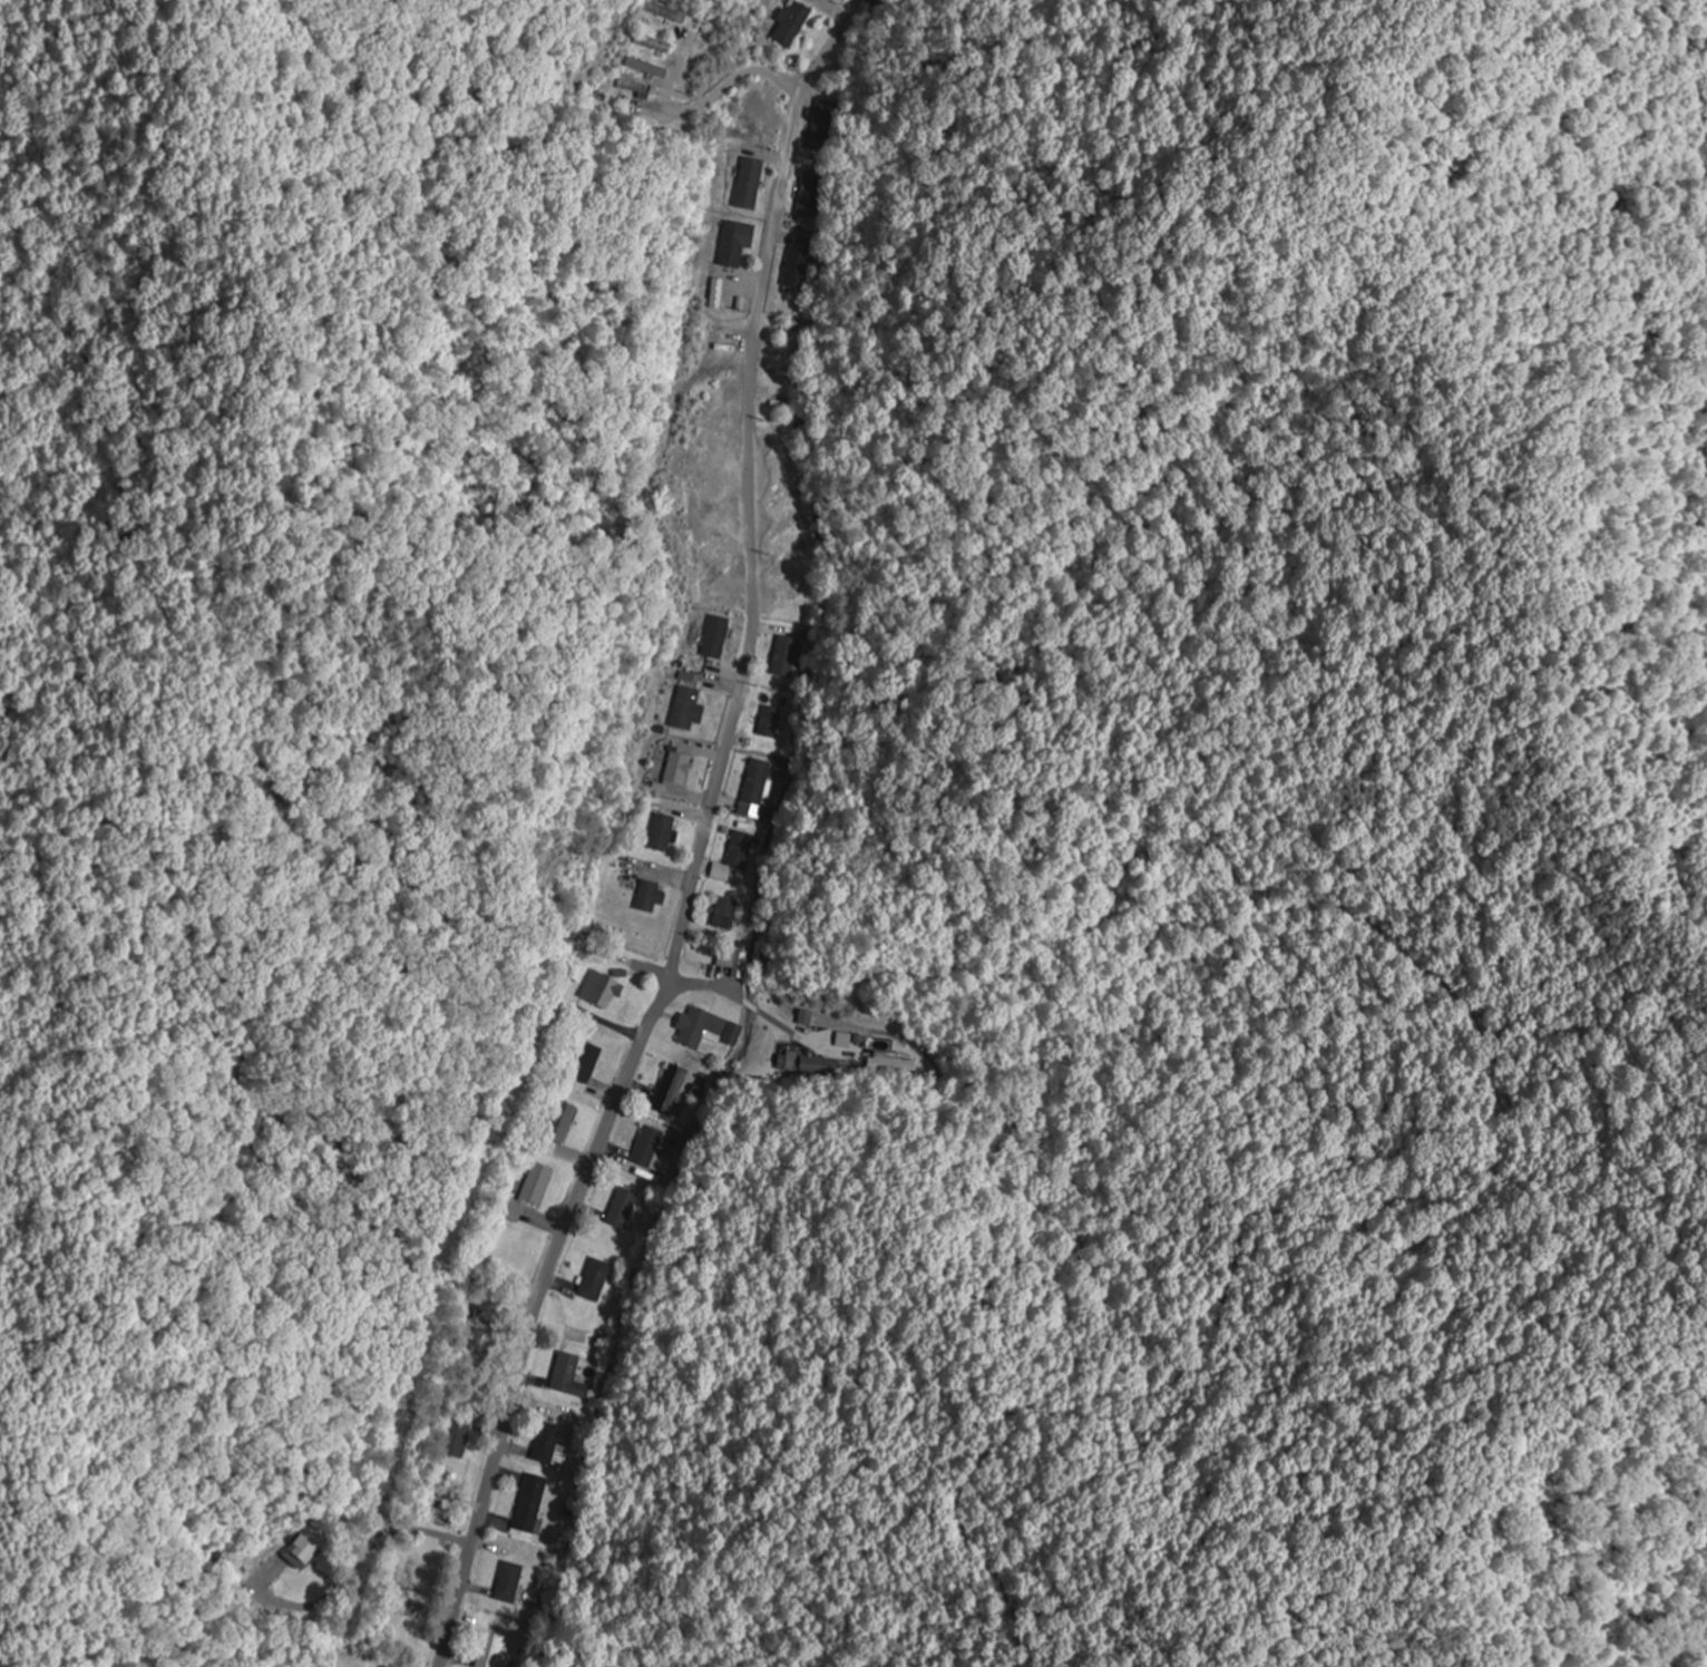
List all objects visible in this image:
building: (791, 23)
building: (654, 42)
building: (645, 66)
building: (637, 87)
building: (825, 126)
building: (749, 182)
building: (811, 194)
building: (732, 243)
building: (797, 267)
building: (714, 359)
building: (711, 394)
building: (713, 426)
building: (779, 449)
building: (711, 465)
building: (786, 488)
building: (714, 503)
building: (789, 523)
building: (716, 538)
building: (790, 557)
building: (718, 569)
building: (715, 635)
building: (784, 656)
building: (686, 709)
building: (770, 721)
building: (676, 769)
building: (757, 781)
building: (662, 832)
road: (701, 844)
building: (740, 849)
building: (648, 896)
building: (725, 913)
building: (733, 961)
building: (601, 990)
road: (950, 1011)
building: (706, 1027)
building: (892, 1061)
building: (586, 1062)
building: (811, 1062)
building: (670, 1088)
building: (560, 1120)
building: (646, 1144)
building: (528, 1191)
building: (622, 1208)
building: (595, 1279)
building: (477, 1339)
building: (568, 1376)
building: (456, 1436)
building: (546, 1442)
building: (529, 1503)
building: (302, 1548)
building: (508, 1582)
building: (489, 1649)
building: (384, 1666)

